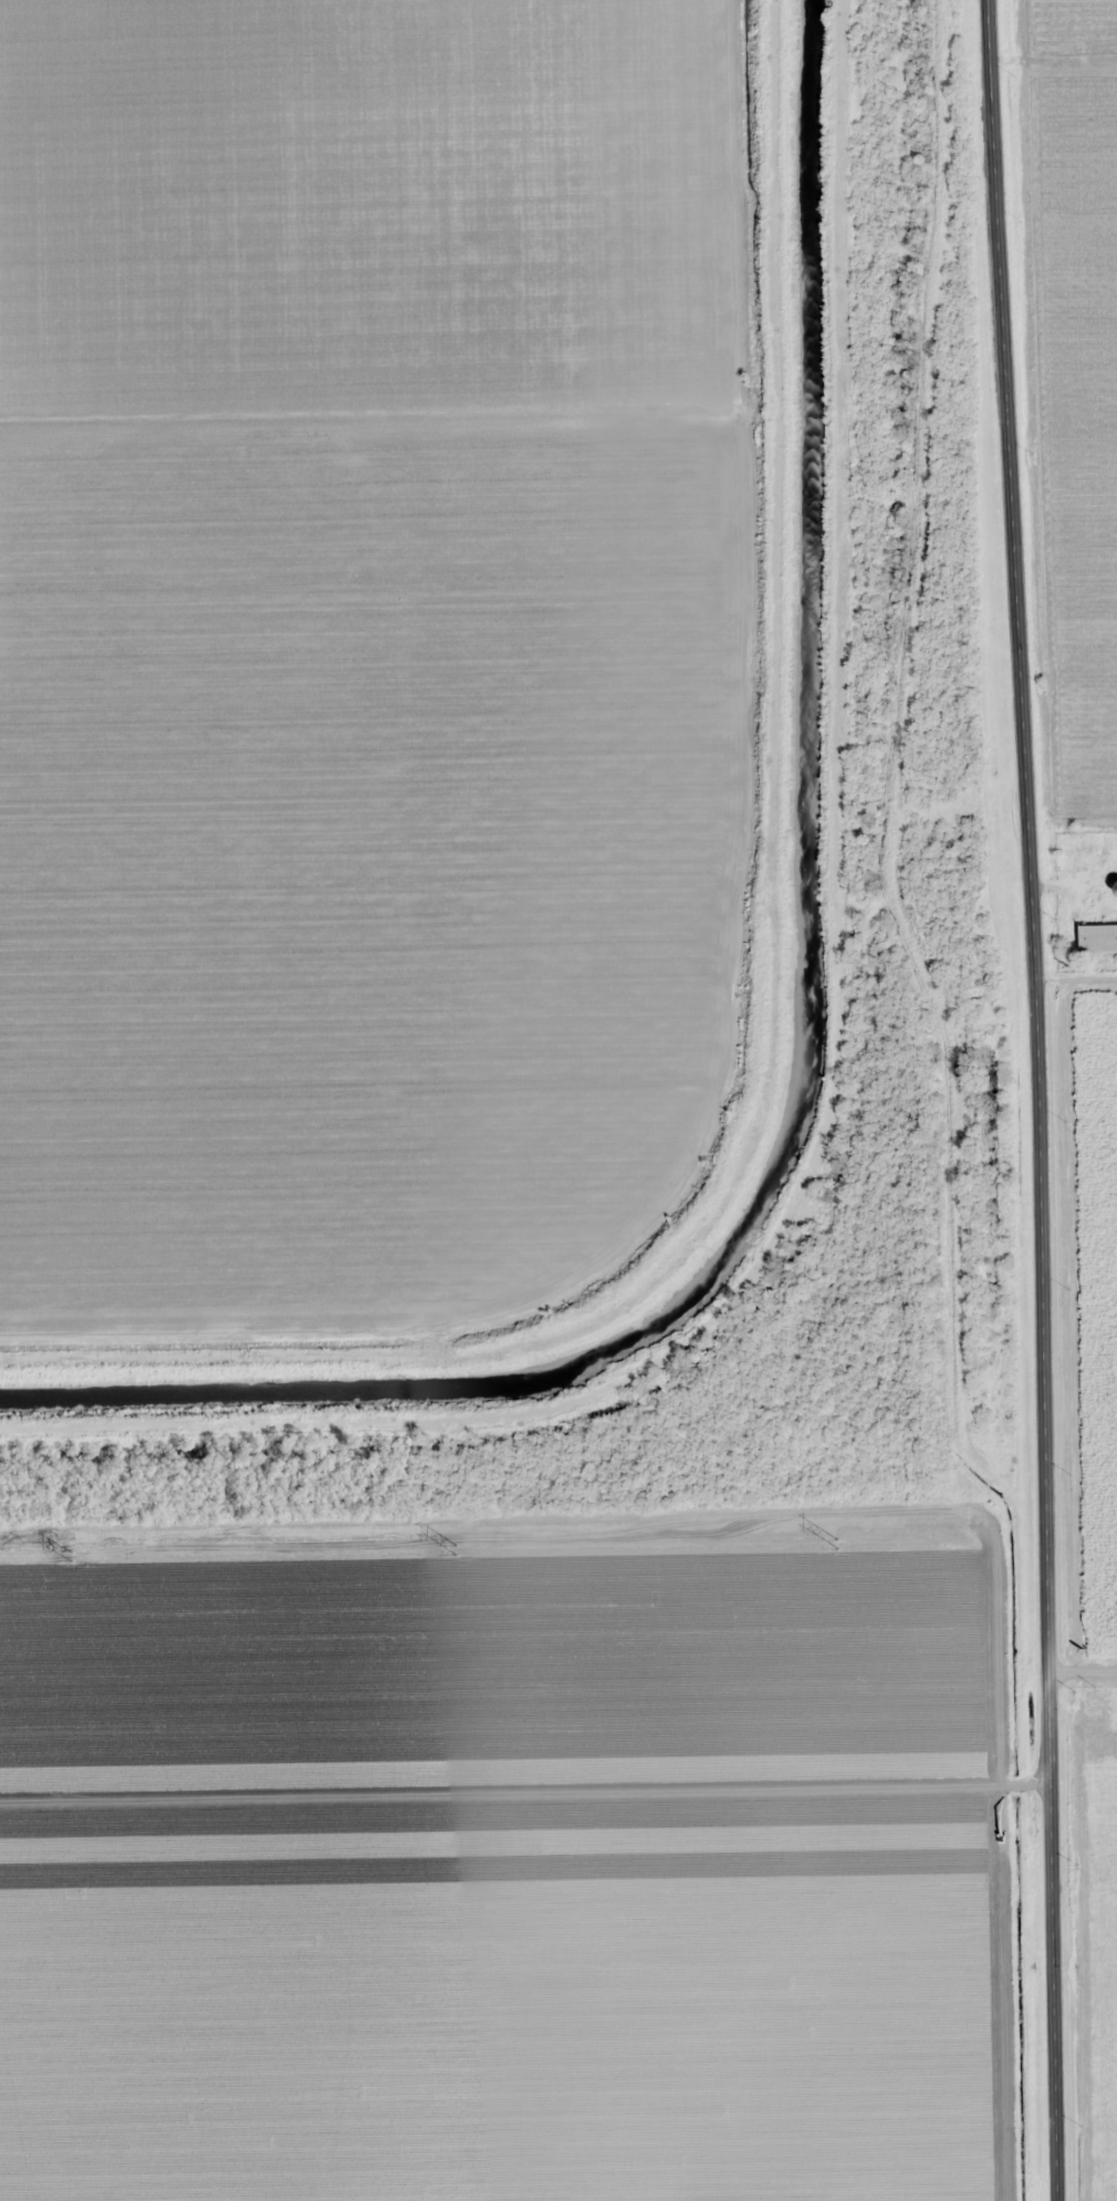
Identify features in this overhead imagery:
road: (1054, 56)
building: (1085, 854)
building: (1116, 886)
building: (1098, 938)
road: (1042, 1099)
power tower: (834, 1543)
power tower: (453, 1548)
power tower: (70, 1555)
road: (1084, 1676)
road: (526, 1796)

